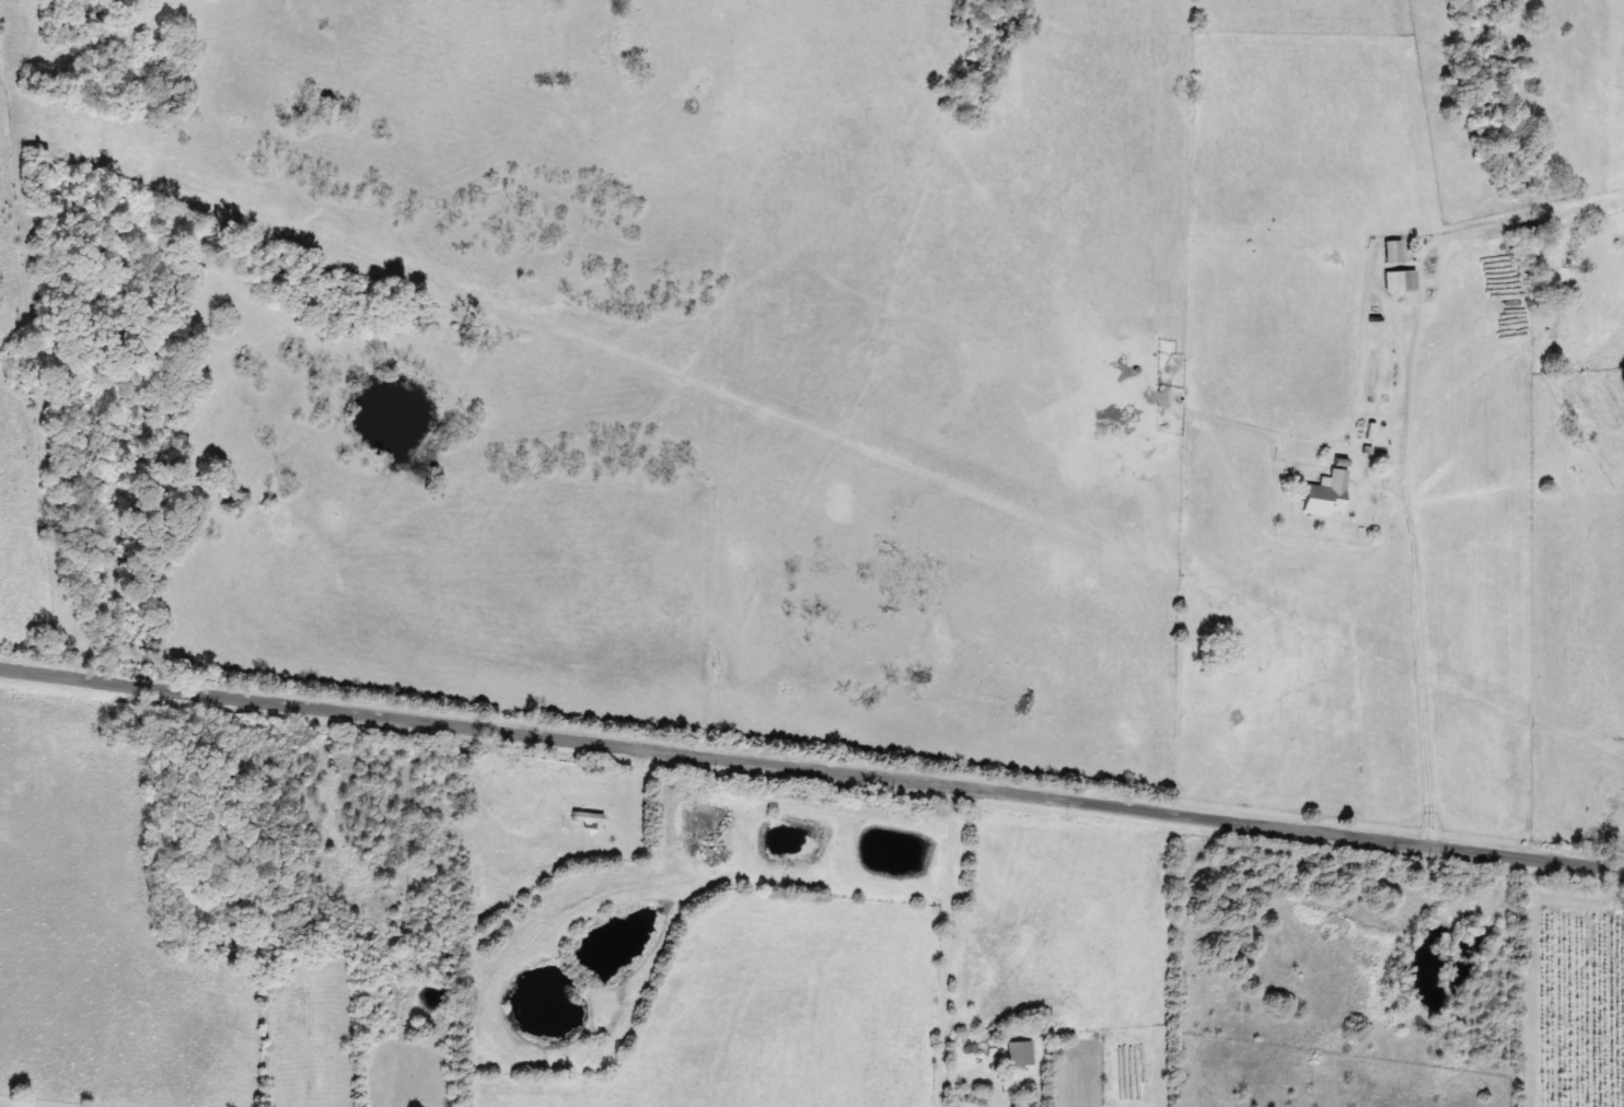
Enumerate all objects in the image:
building: (1396, 252)
building: (1404, 281)
road: (732, 405)
building: (1330, 494)
road: (1338, 515)
road: (811, 789)
building: (1024, 1054)

